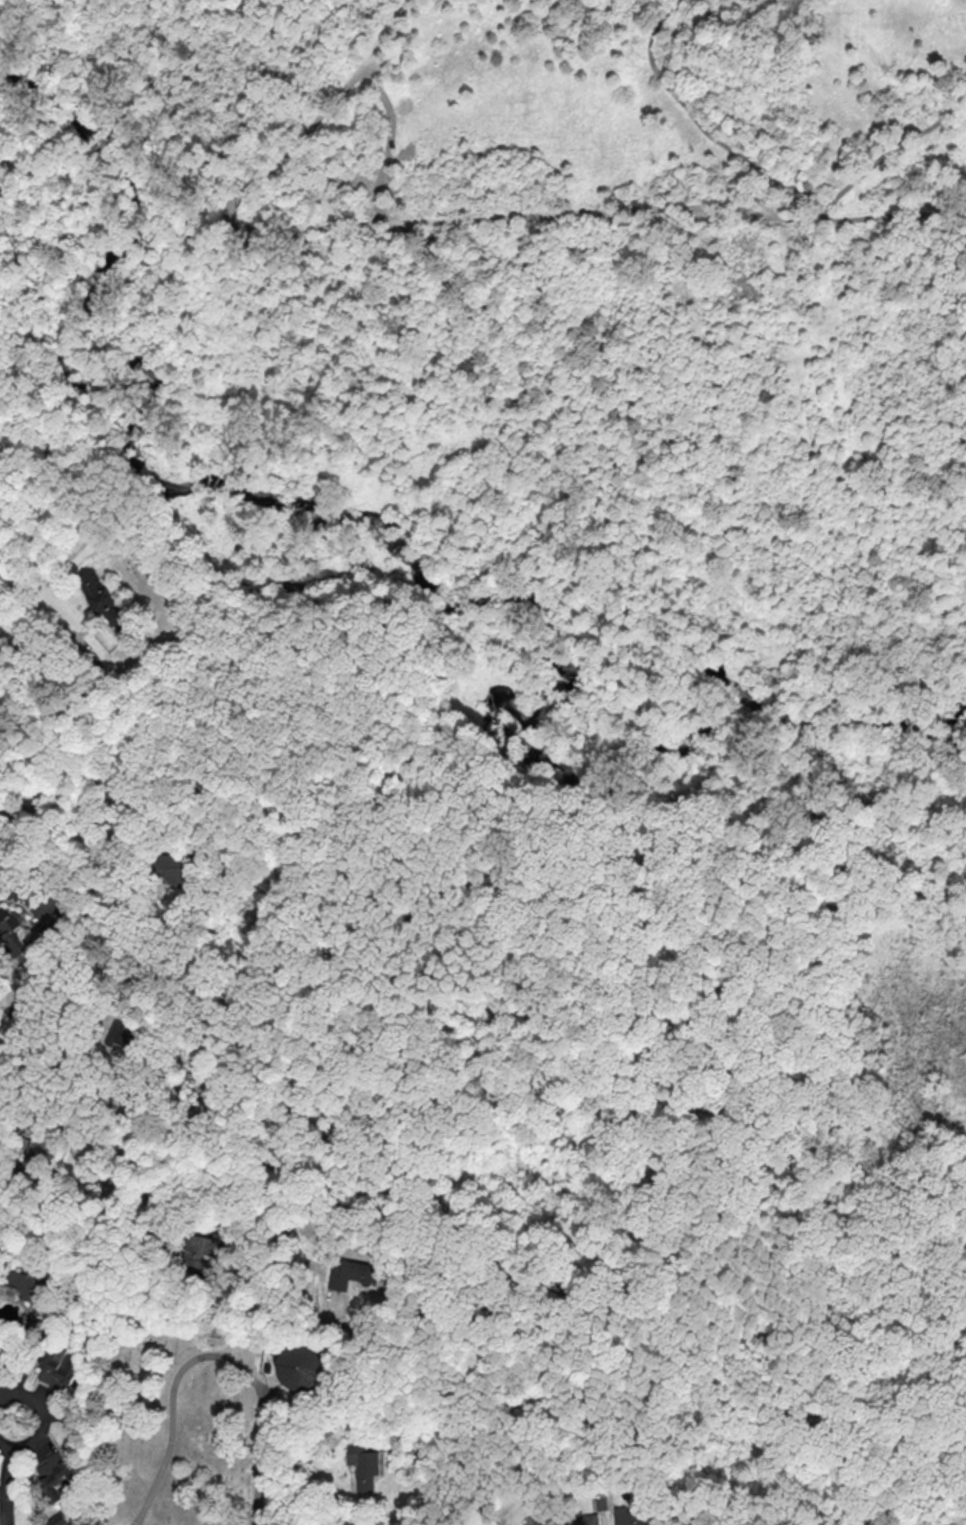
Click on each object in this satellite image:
road: (738, 80)
road: (316, 117)
road: (698, 124)
road: (386, 148)
road: (895, 148)
road: (39, 211)
road: (820, 213)
road: (527, 218)
road: (962, 247)
road: (93, 282)
road: (38, 304)
park: (515, 387)
road: (581, 411)
building: (129, 517)
road: (120, 529)
road: (814, 568)
river: (514, 596)
road: (899, 599)
building: (104, 602)
road: (96, 619)
road: (89, 624)
road: (108, 625)
road: (108, 630)
road: (92, 662)
road: (43, 775)
road: (91, 806)
road: (46, 808)
building: (176, 861)
road: (149, 889)
building: (8, 933)
road: (33, 939)
road: (46, 946)
road: (9, 996)
building: (122, 1036)
road: (128, 1064)
building: (133, 1088)
road: (148, 1094)
building: (30, 1155)
road: (239, 1156)
road: (74, 1180)
road: (26, 1194)
building: (203, 1244)
road: (241, 1272)
building: (348, 1273)
building: (22, 1284)
road: (211, 1293)
road: (331, 1309)
road: (168, 1312)
road: (211, 1358)
building: (300, 1367)
water tower: (305, 1370)
park: (184, 1424)
building: (363, 1466)
road: (7, 1473)
building: (56, 1475)
building: (634, 1515)
parking lot: (135, 1519)
building: (584, 1519)
building: (537, 1520)
building: (58, 1521)
building: (685, 1523)

